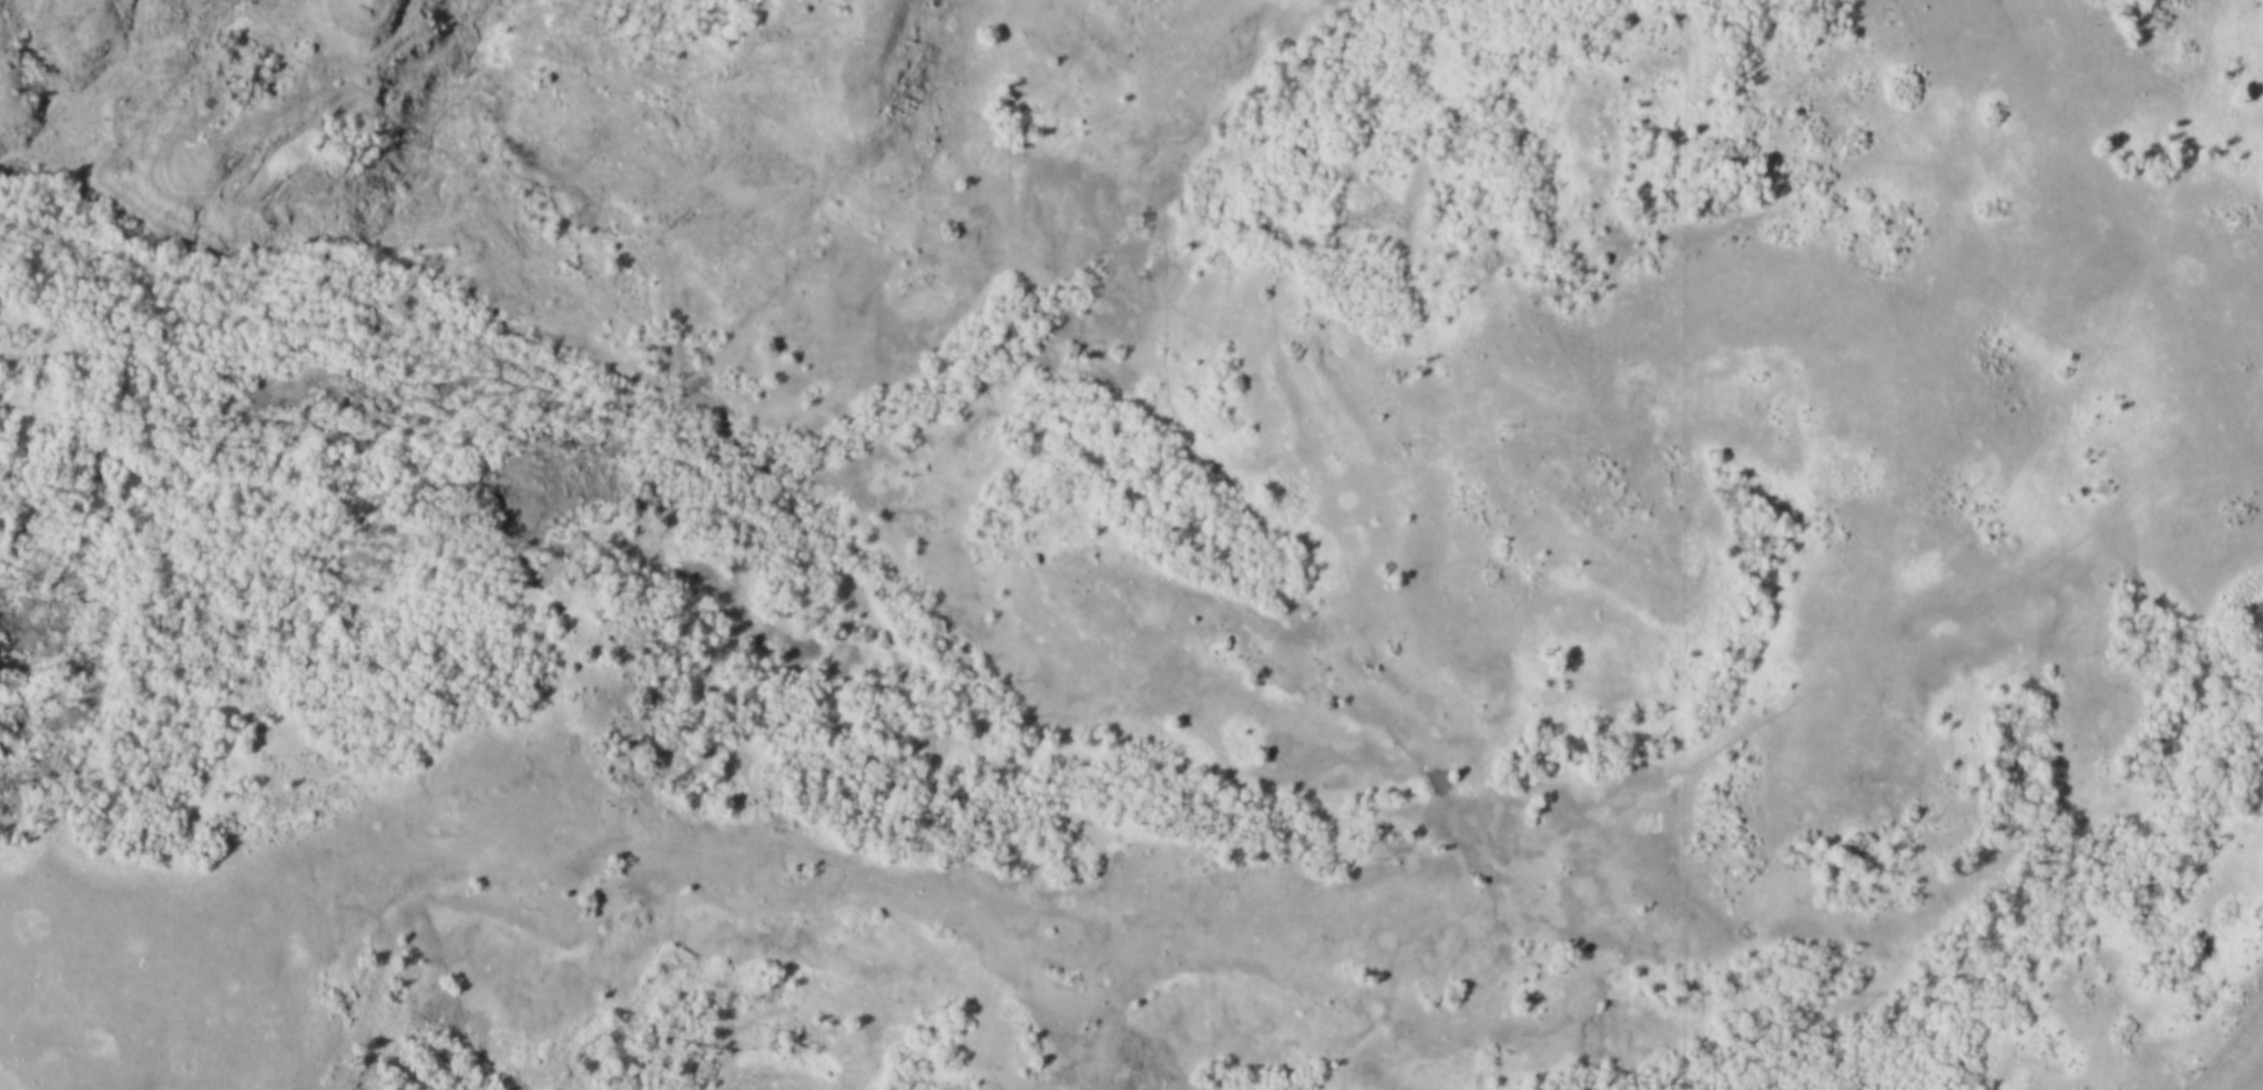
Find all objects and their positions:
road: (2249, 1073)

